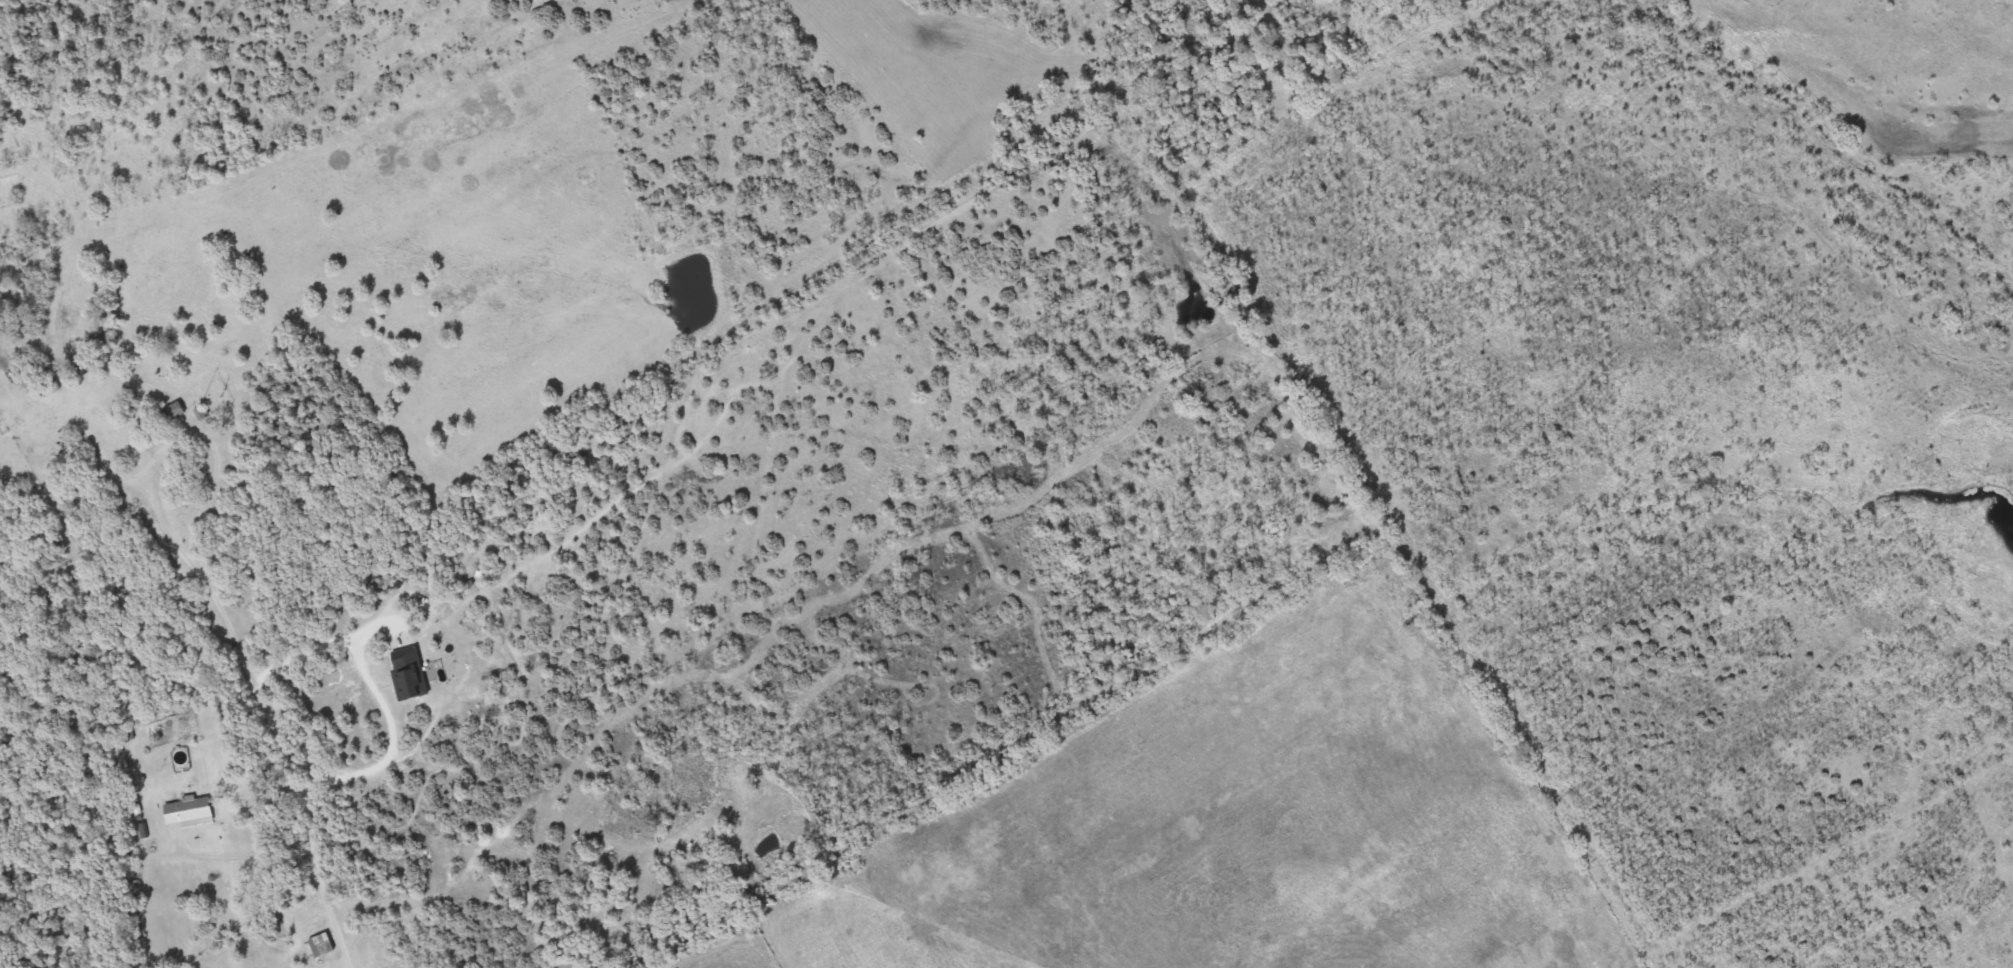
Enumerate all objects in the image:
building: (97, 126)
building: (175, 411)
road: (193, 575)
road: (121, 610)
road: (374, 690)
building: (190, 813)
building: (322, 945)

